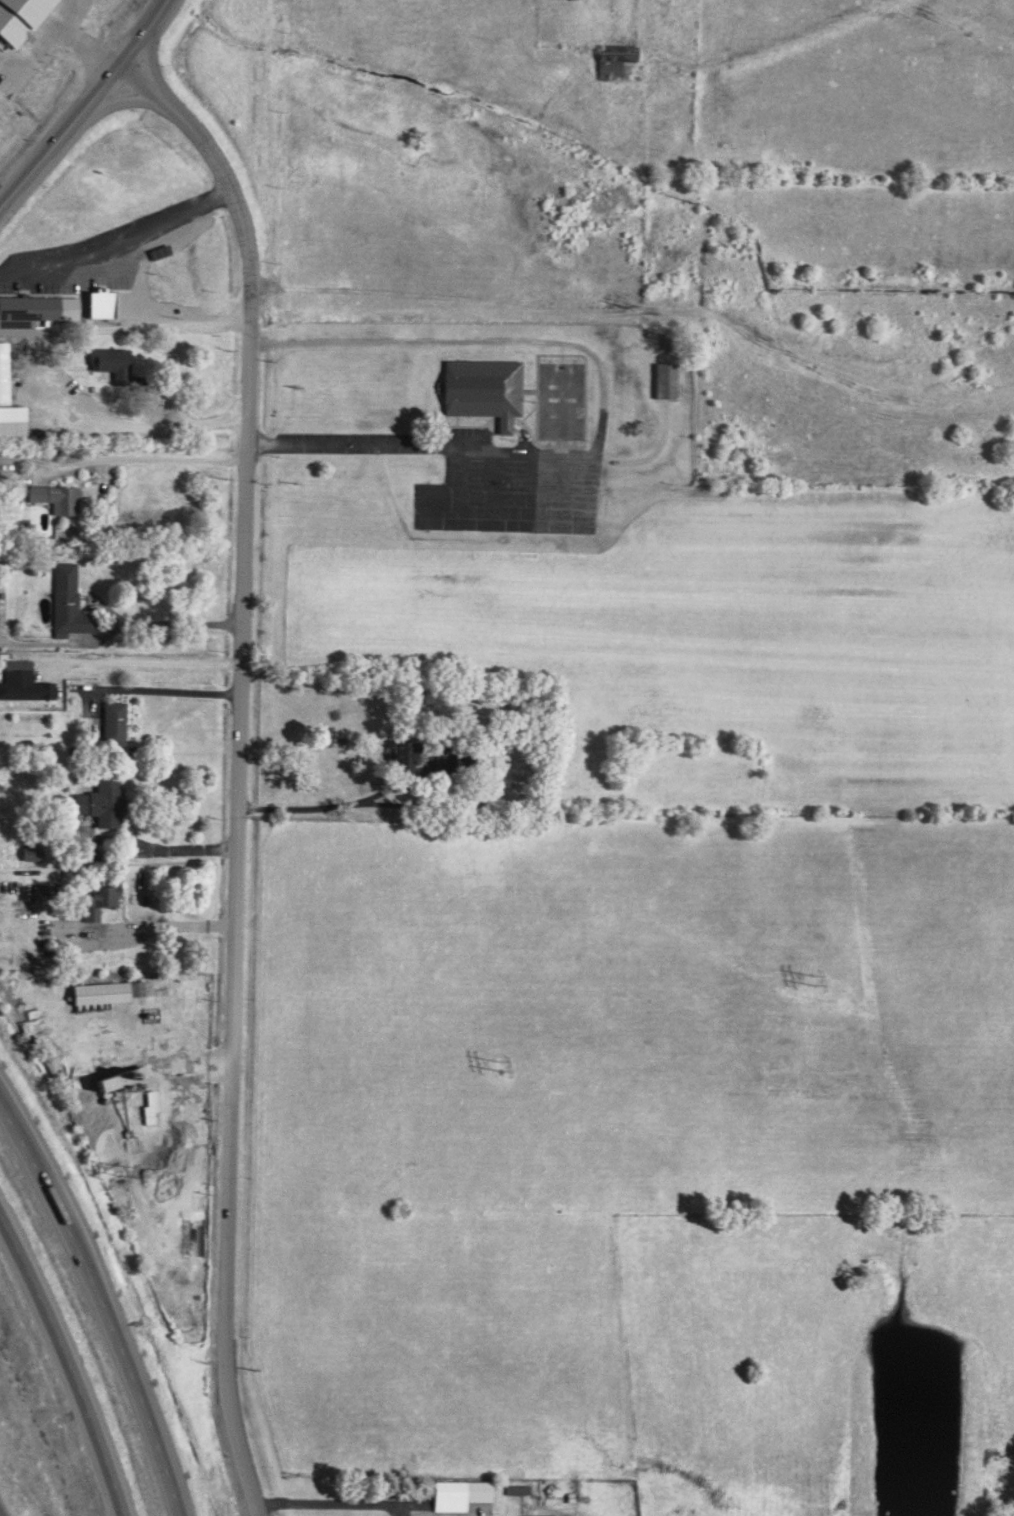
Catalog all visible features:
building: (17, 16)
road: (140, 32)
road: (81, 40)
road: (59, 138)
road: (119, 242)
building: (96, 300)
building: (29, 308)
building: (109, 360)
building: (3, 373)
building: (662, 377)
building: (482, 389)
road: (605, 404)
road: (123, 460)
building: (54, 494)
building: (67, 598)
road: (179, 626)
road: (149, 663)
building: (22, 679)
road: (163, 694)
building: (112, 719)
building: (400, 754)
road: (238, 769)
building: (98, 801)
road: (320, 811)
road: (164, 850)
building: (98, 898)
road: (143, 929)
power tower: (814, 983)
building: (102, 989)
power tower: (501, 1066)
building: (115, 1076)
road: (103, 1304)
road: (68, 1363)
building: (456, 1491)
road: (328, 1499)
building: (538, 1514)

